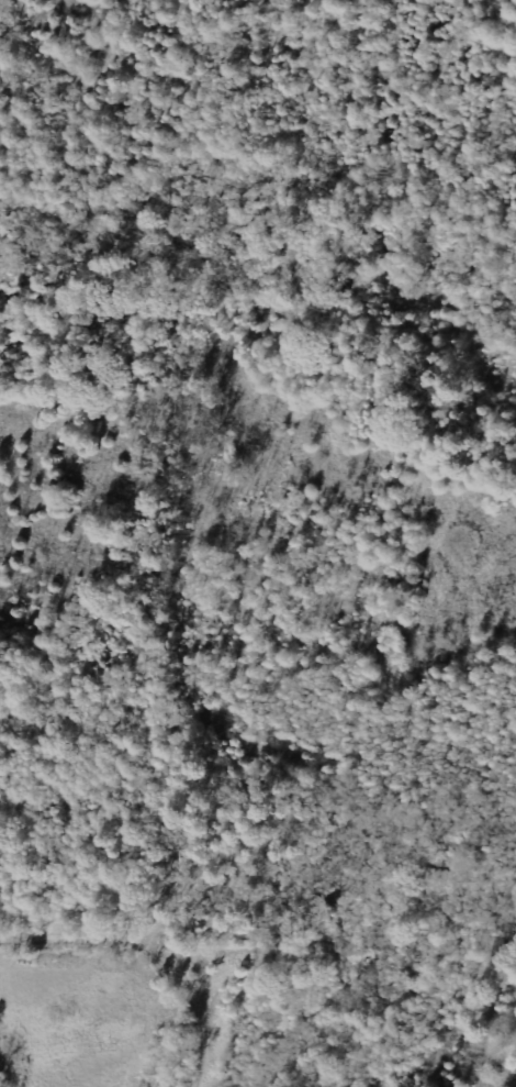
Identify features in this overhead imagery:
road: (75, 947)

